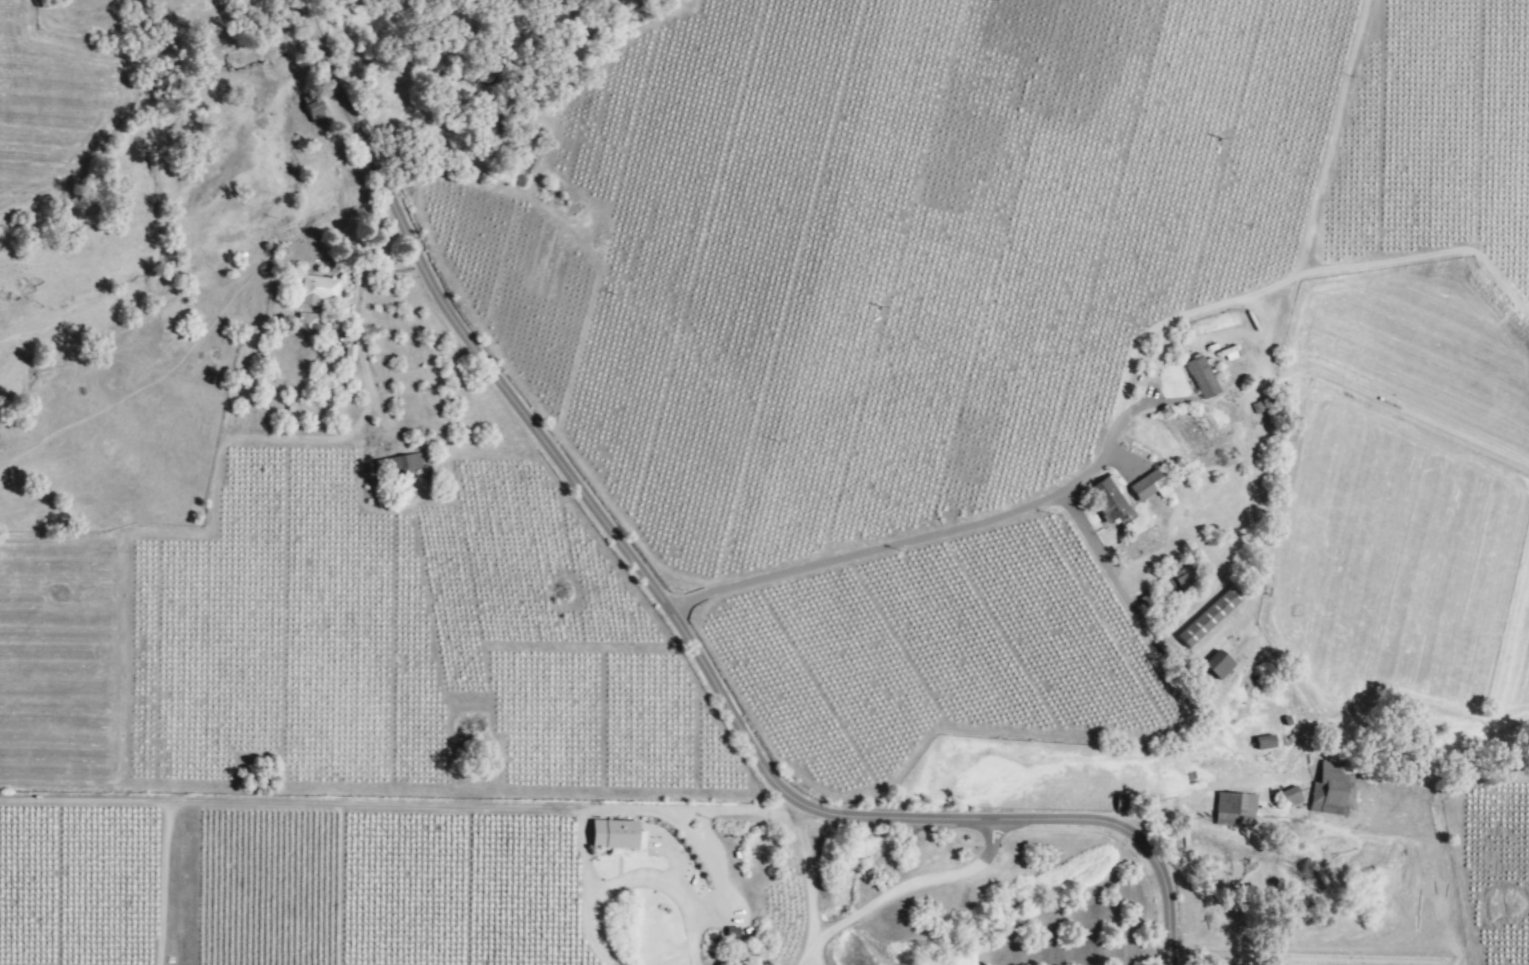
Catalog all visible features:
building: (310, 109)
building: (316, 289)
building: (305, 321)
road: (358, 332)
building: (348, 352)
building: (1199, 377)
building: (405, 463)
building: (1147, 486)
building: (1107, 500)
road: (927, 529)
road: (1100, 556)
road: (670, 608)
building: (1207, 617)
building: (1216, 665)
building: (1262, 742)
building: (1334, 790)
building: (1289, 796)
road: (606, 810)
building: (1232, 810)
building: (610, 835)
road: (804, 879)
road: (908, 883)
road: (669, 884)
building: (729, 932)
road: (812, 963)
road: (814, 963)

